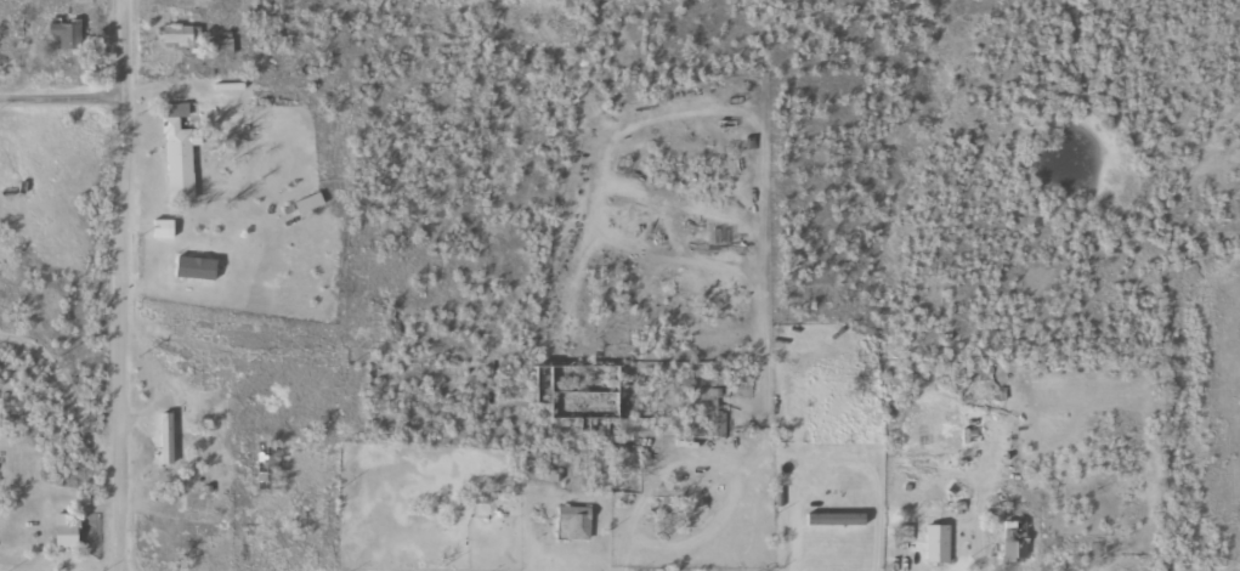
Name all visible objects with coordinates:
building: (63, 34)
building: (181, 34)
building: (223, 46)
road: (64, 90)
building: (179, 152)
building: (308, 202)
building: (163, 227)
building: (194, 266)
road: (129, 285)
building: (718, 411)
building: (164, 437)
building: (834, 518)
building: (573, 520)
building: (64, 530)
building: (936, 542)
road: (1234, 567)

